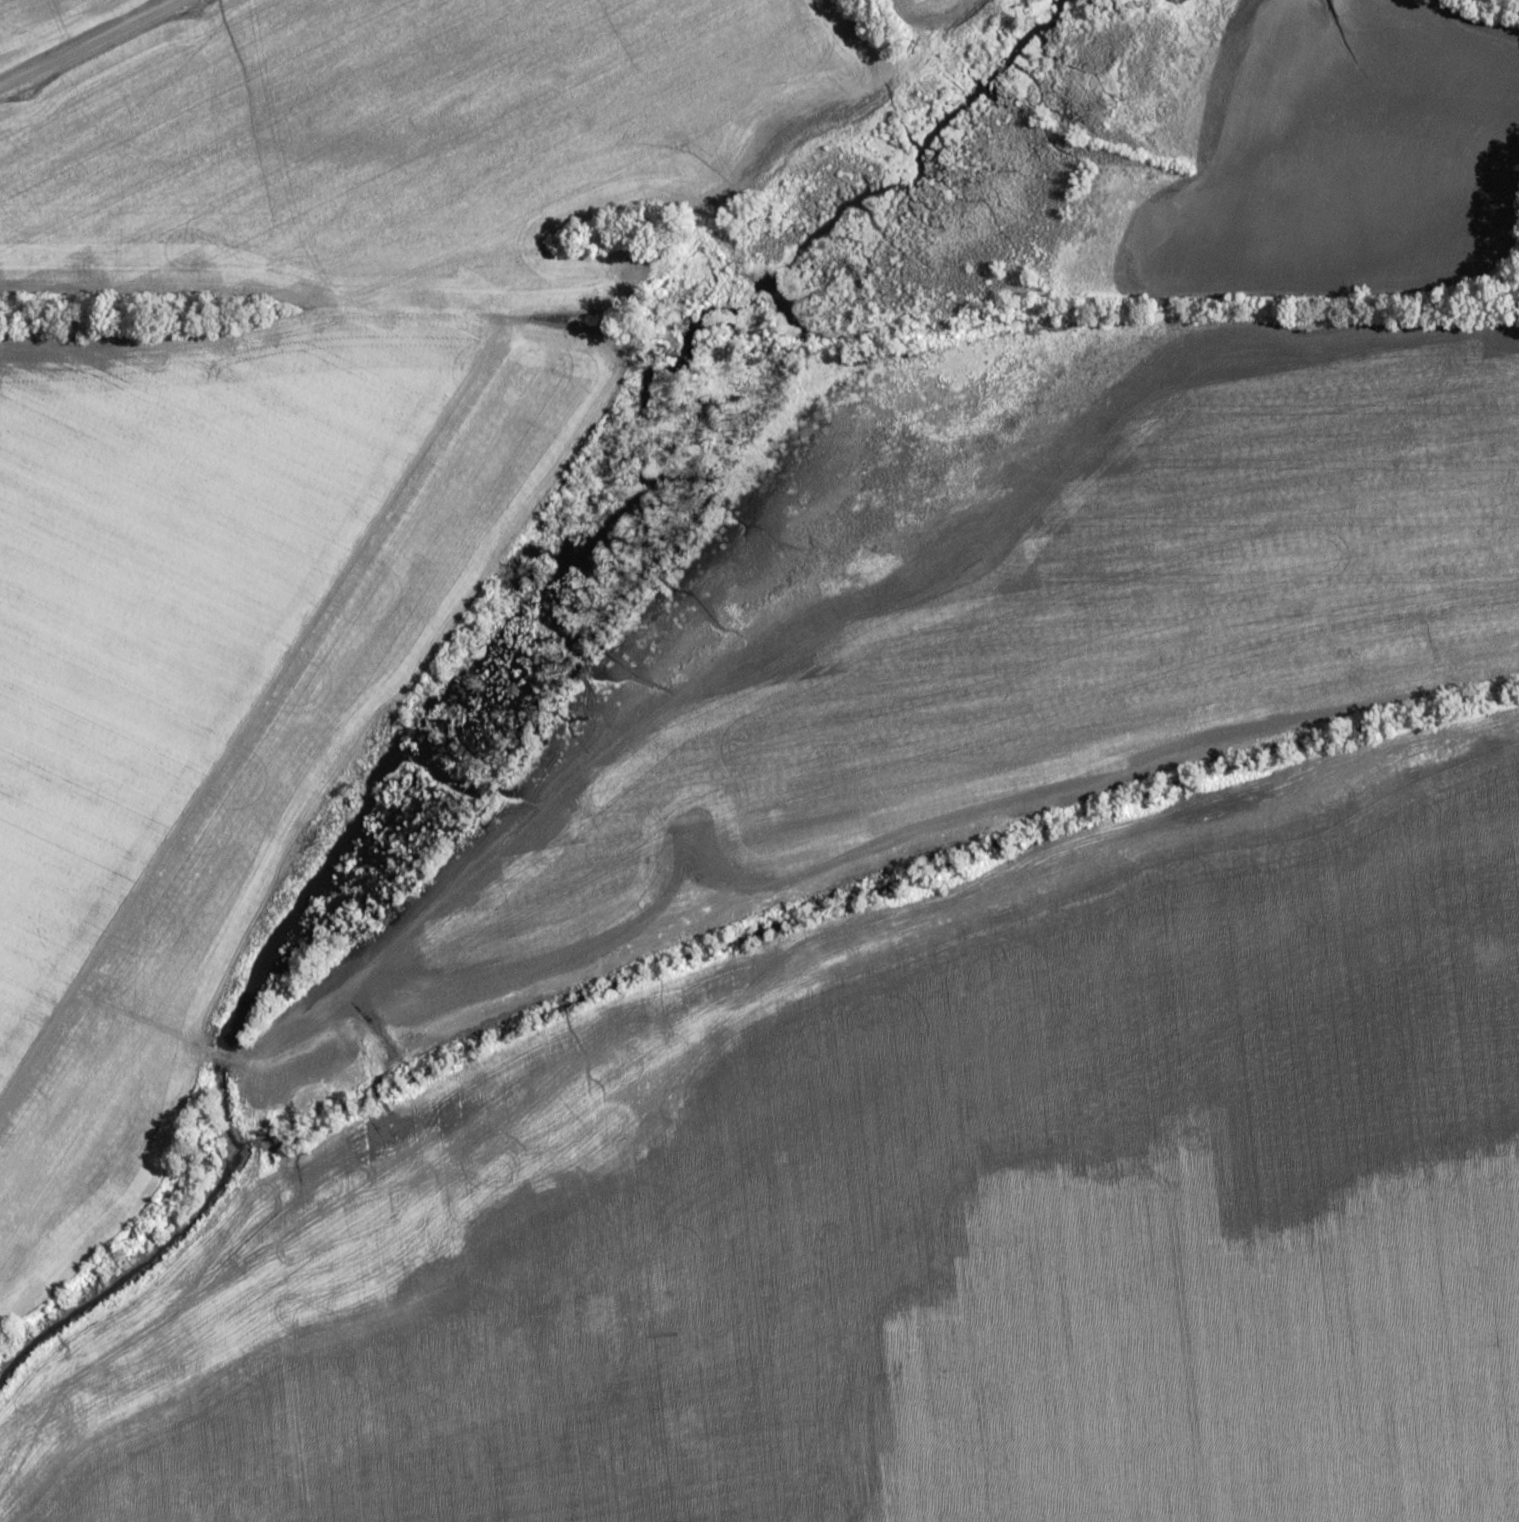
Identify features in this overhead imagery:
road: (86, 42)

